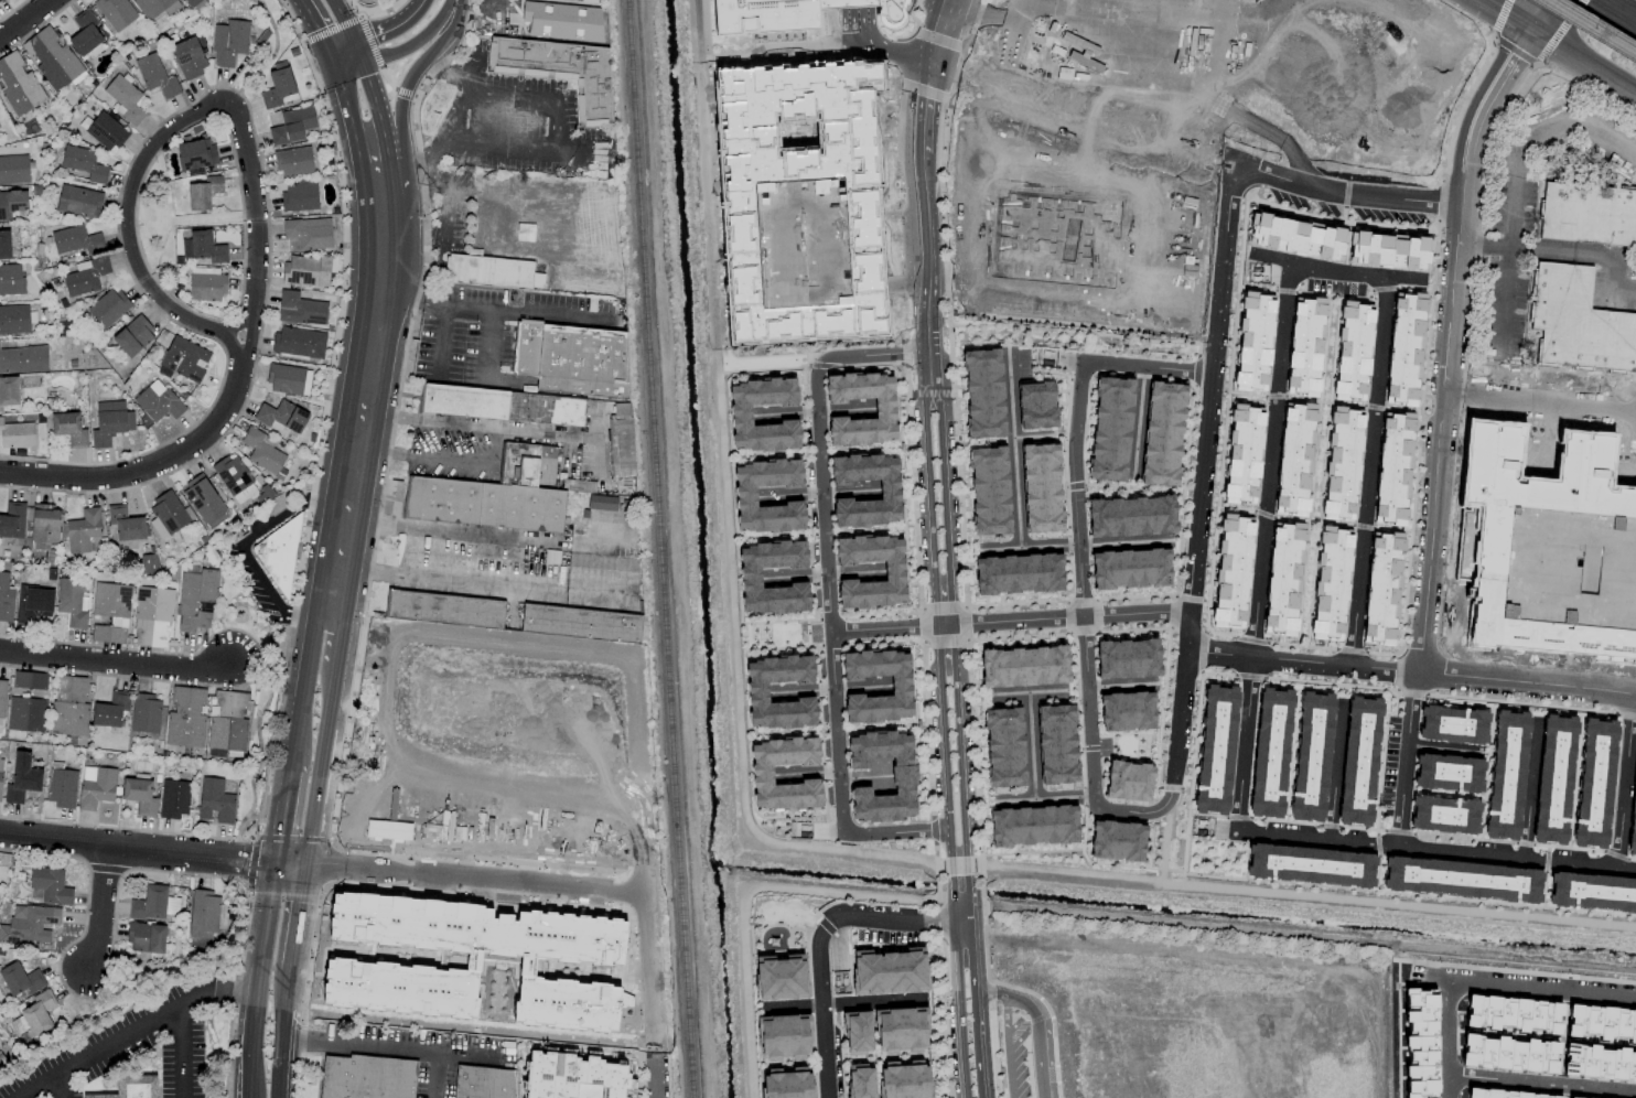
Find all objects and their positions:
building: (0, 0)
building: (355, 0)
building: (749, 0)
building: (774, 1)
building: (196, 3)
road: (1626, 6)
building: (155, 7)
road: (1496, 11)
building: (116, 12)
road: (481, 13)
building: (560, 15)
road: (1547, 17)
road: (26, 20)
road: (343, 22)
building: (790, 23)
railway: (1596, 23)
traffic signals: (1517, 24)
road: (397, 29)
road: (1525, 29)
road: (320, 30)
road: (929, 30)
railway: (1585, 30)
road: (1559, 31)
road: (958, 32)
building: (87, 33)
traffic signals: (1533, 34)
road: (1494, 36)
road: (1499, 40)
road: (413, 41)
building: (229, 42)
road: (1000, 42)
traffic signals: (355, 45)
road: (885, 51)
road: (344, 54)
road: (358, 54)
building: (52, 57)
building: (189, 57)
road: (270, 58)
traffic signals: (334, 63)
road: (348, 63)
road: (934, 63)
traffic signals: (363, 64)
road: (1584, 65)
building: (559, 69)
road: (1508, 74)
building: (155, 75)
road: (966, 76)
road: (409, 77)
building: (19, 84)
building: (279, 86)
road: (512, 98)
building: (125, 99)
road: (461, 101)
road: (1471, 104)
road: (376, 105)
road: (214, 106)
road: (910, 106)
road: (346, 108)
road: (934, 109)
building: (292, 125)
road: (559, 127)
road: (1589, 130)
building: (106, 132)
road: (526, 150)
building: (195, 153)
road: (374, 157)
building: (293, 161)
building: (84, 163)
road: (413, 164)
road: (1473, 168)
building: (13, 169)
road: (1255, 171)
building: (204, 192)
building: (300, 196)
building: (78, 201)
building: (1096, 202)
building: (12, 203)
building: (1587, 214)
building: (309, 233)
building: (1298, 236)
road: (1481, 236)
road: (1506, 237)
building: (75, 240)
building: (800, 244)
building: (4, 245)
building: (203, 247)
building: (1390, 249)
building: (306, 270)
building: (492, 271)
road: (1336, 271)
building: (85, 276)
building: (11, 280)
building: (206, 284)
road: (1623, 291)
road: (411, 295)
building: (108, 308)
building: (300, 309)
road: (529, 312)
building: (14, 319)
road: (1142, 319)
building: (1578, 322)
building: (132, 336)
road: (249, 337)
building: (299, 342)
road: (441, 342)
road: (230, 343)
building: (1253, 343)
building: (1305, 345)
road: (487, 346)
building: (1404, 347)
building: (1353, 349)
building: (184, 358)
building: (571, 358)
building: (23, 359)
road: (367, 366)
road: (917, 366)
building: (289, 379)
road: (940, 389)
building: (9, 391)
building: (983, 392)
building: (158, 401)
road: (1540, 401)
building: (503, 405)
building: (1036, 405)
building: (884, 409)
building: (740, 412)
building: (281, 417)
road: (386, 417)
building: (110, 422)
building: (68, 428)
road: (505, 429)
building: (1110, 429)
building: (1162, 433)
building: (17, 434)
building: (621, 441)
road: (1440, 442)
road: (495, 446)
building: (261, 451)
building: (1242, 454)
road: (384, 455)
road: (599, 457)
building: (1294, 459)
road: (453, 462)
building: (1342, 463)
building: (1392, 466)
road: (149, 470)
building: (235, 478)
road: (1014, 486)
building: (1041, 487)
building: (889, 491)
building: (989, 491)
building: (745, 493)
building: (494, 494)
building: (204, 502)
building: (601, 502)
building: (169, 515)
building: (1131, 516)
road: (1076, 519)
building: (12, 520)
building: (125, 524)
building: (42, 526)
building: (83, 530)
road: (1121, 542)
road: (241, 546)
railway: (659, 548)
building: (1551, 549)
building: (279, 553)
building: (1130, 569)
building: (894, 571)
building: (1231, 571)
building: (1019, 573)
building: (750, 574)
road: (452, 577)
building: (1283, 579)
building: (1331, 581)
building: (1381, 586)
road: (599, 588)
road: (332, 594)
building: (6, 599)
building: (195, 599)
road: (828, 599)
building: (72, 602)
road: (933, 602)
building: (34, 604)
building: (445, 609)
park: (239, 610)
building: (110, 612)
road: (1134, 612)
building: (151, 616)
road: (1019, 620)
building: (580, 623)
road: (1185, 623)
road: (945, 625)
road: (882, 627)
road: (333, 628)
road: (306, 655)
road: (1302, 655)
road: (337, 657)
building: (1128, 658)
road: (115, 664)
building: (1024, 666)
building: (30, 680)
road: (1527, 680)
building: (901, 688)
building: (756, 689)
building: (2, 697)
building: (69, 706)
building: (110, 710)
building: (1127, 711)
building: (146, 713)
building: (25, 714)
building: (185, 717)
building: (227, 721)
building: (1453, 724)
road: (298, 725)
road: (1244, 736)
road: (961, 739)
building: (1056, 744)
building: (1004, 747)
building: (1215, 750)
road: (260, 751)
road: (1409, 752)
building: (1270, 753)
building: (1311, 756)
building: (1359, 761)
road: (1334, 764)
building: (762, 772)
road: (943, 773)
building: (1447, 773)
building: (0, 775)
building: (1506, 775)
road: (321, 776)
road: (1623, 776)
building: (22, 777)
building: (903, 777)
building: (1553, 779)
building: (1129, 781)
building: (1594, 783)
road: (1529, 785)
building: (96, 786)
building: (62, 787)
building: (139, 795)
road: (1044, 797)
building: (174, 798)
building: (215, 800)
road: (284, 811)
building: (1444, 815)
building: (1633, 816)
building: (1033, 826)
building: (388, 830)
building: (1117, 840)
road: (1424, 841)
road: (138, 849)
road: (1625, 861)
building: (1311, 865)
traffic signals: (276, 870)
road: (291, 872)
traffic signals: (306, 874)
building: (1462, 880)
road: (476, 881)
building: (50, 885)
road: (970, 885)
building: (1592, 892)
building: (149, 904)
road: (103, 905)
building: (204, 915)
road: (961, 918)
building: (28, 924)
road: (297, 927)
road: (972, 927)
building: (146, 937)
road: (821, 945)
road: (1230, 958)
building: (475, 960)
building: (890, 971)
building: (781, 977)
building: (20, 979)
road: (258, 983)
road: (1553, 988)
road: (1635, 995)
road: (957, 1009)
building: (37, 1012)
building: (1511, 1013)
road: (978, 1016)
building: (1601, 1022)
road: (1035, 1023)
road: (1447, 1029)
building: (901, 1030)
road: (132, 1031)
building: (857, 1033)
building: (784, 1036)
road: (281, 1038)
building: (1421, 1042)
road: (385, 1044)
road: (1007, 1047)
road: (187, 1049)
building: (1508, 1054)
building: (1599, 1063)
building: (366, 1077)
building: (574, 1077)
building: (904, 1079)
road: (656, 1080)
road: (1542, 1080)
building: (860, 1081)
road: (65, 1083)
building: (485, 1083)
building: (787, 1083)
building: (130, 1087)
building: (1504, 1094)
building: (1569, 1097)

